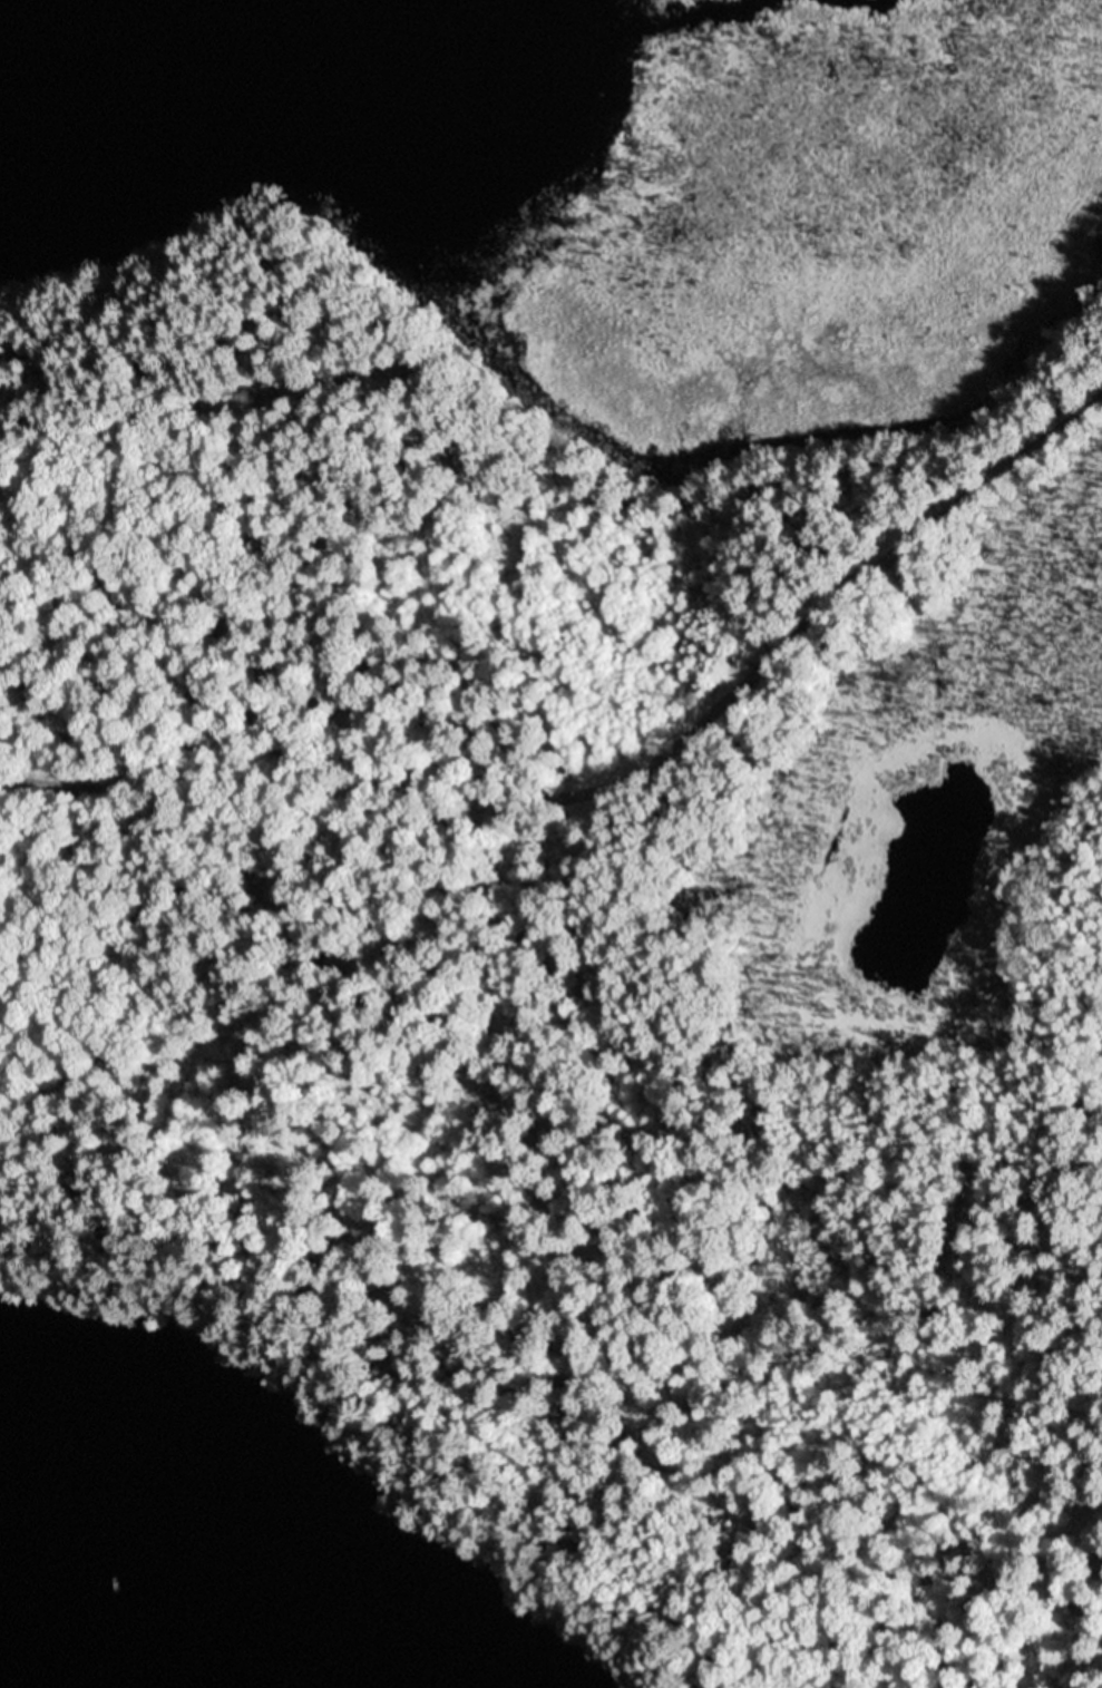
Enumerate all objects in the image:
road: (616, 783)

